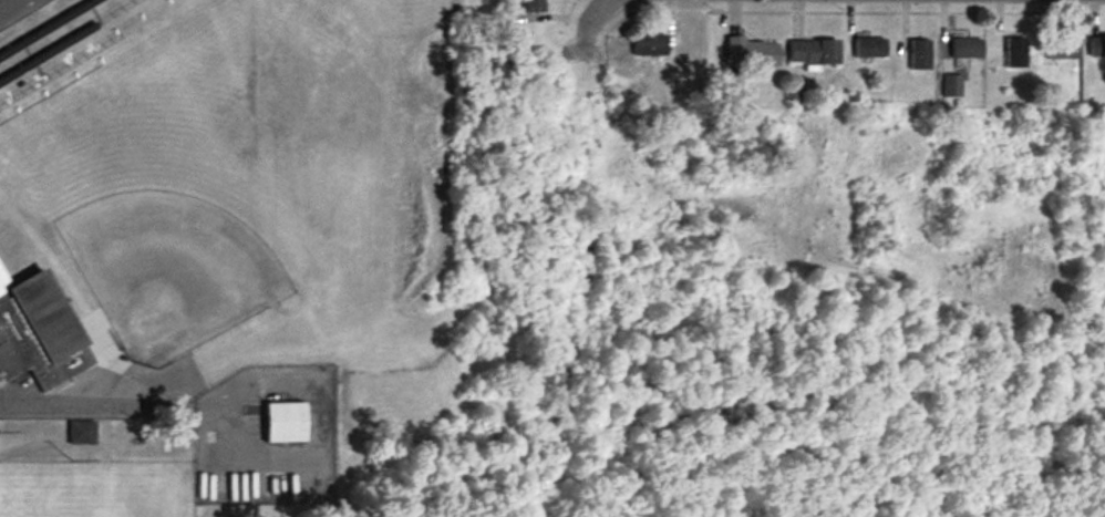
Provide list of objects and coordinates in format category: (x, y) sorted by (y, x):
building: (537, 6)
road: (13, 8)
road: (592, 18)
building: (653, 45)
building: (871, 48)
building: (969, 49)
building: (1097, 49)
building: (1064, 50)
building: (816, 51)
building: (754, 52)
building: (1016, 53)
building: (921, 55)
building: (39, 330)
road: (70, 392)
building: (287, 422)
building: (83, 433)

